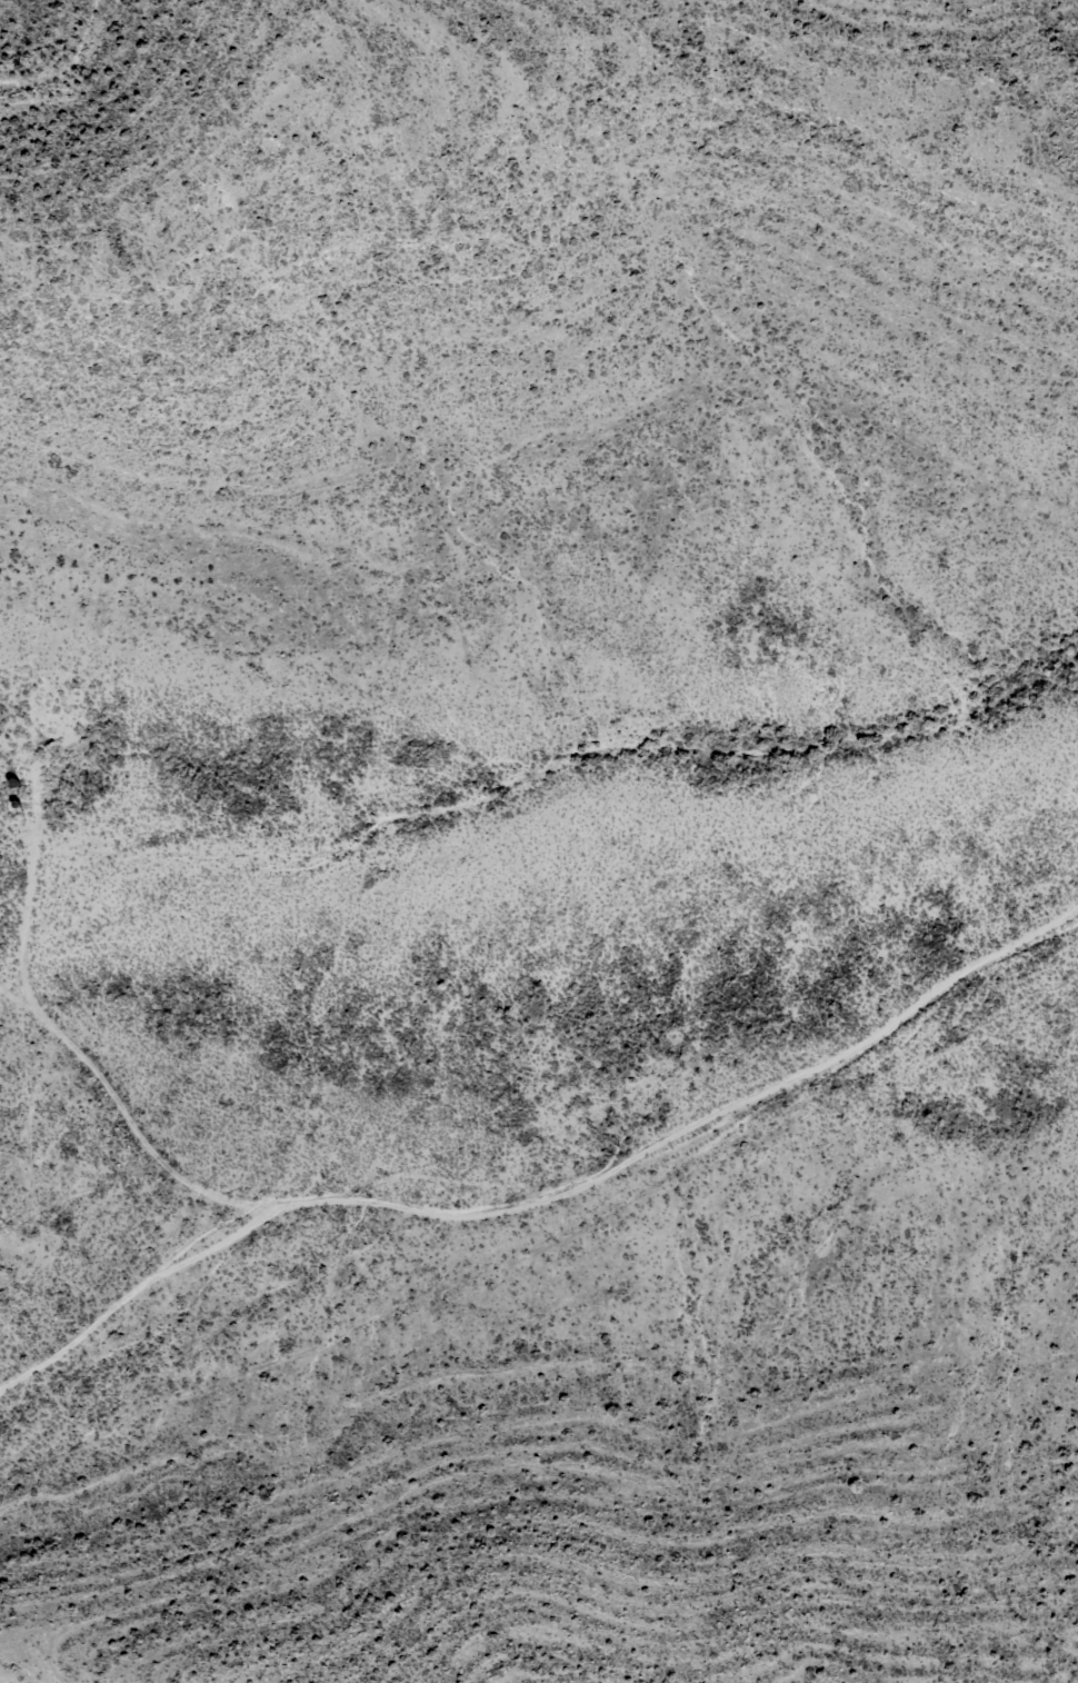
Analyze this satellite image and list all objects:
road: (89, 1183)
road: (450, 1183)

